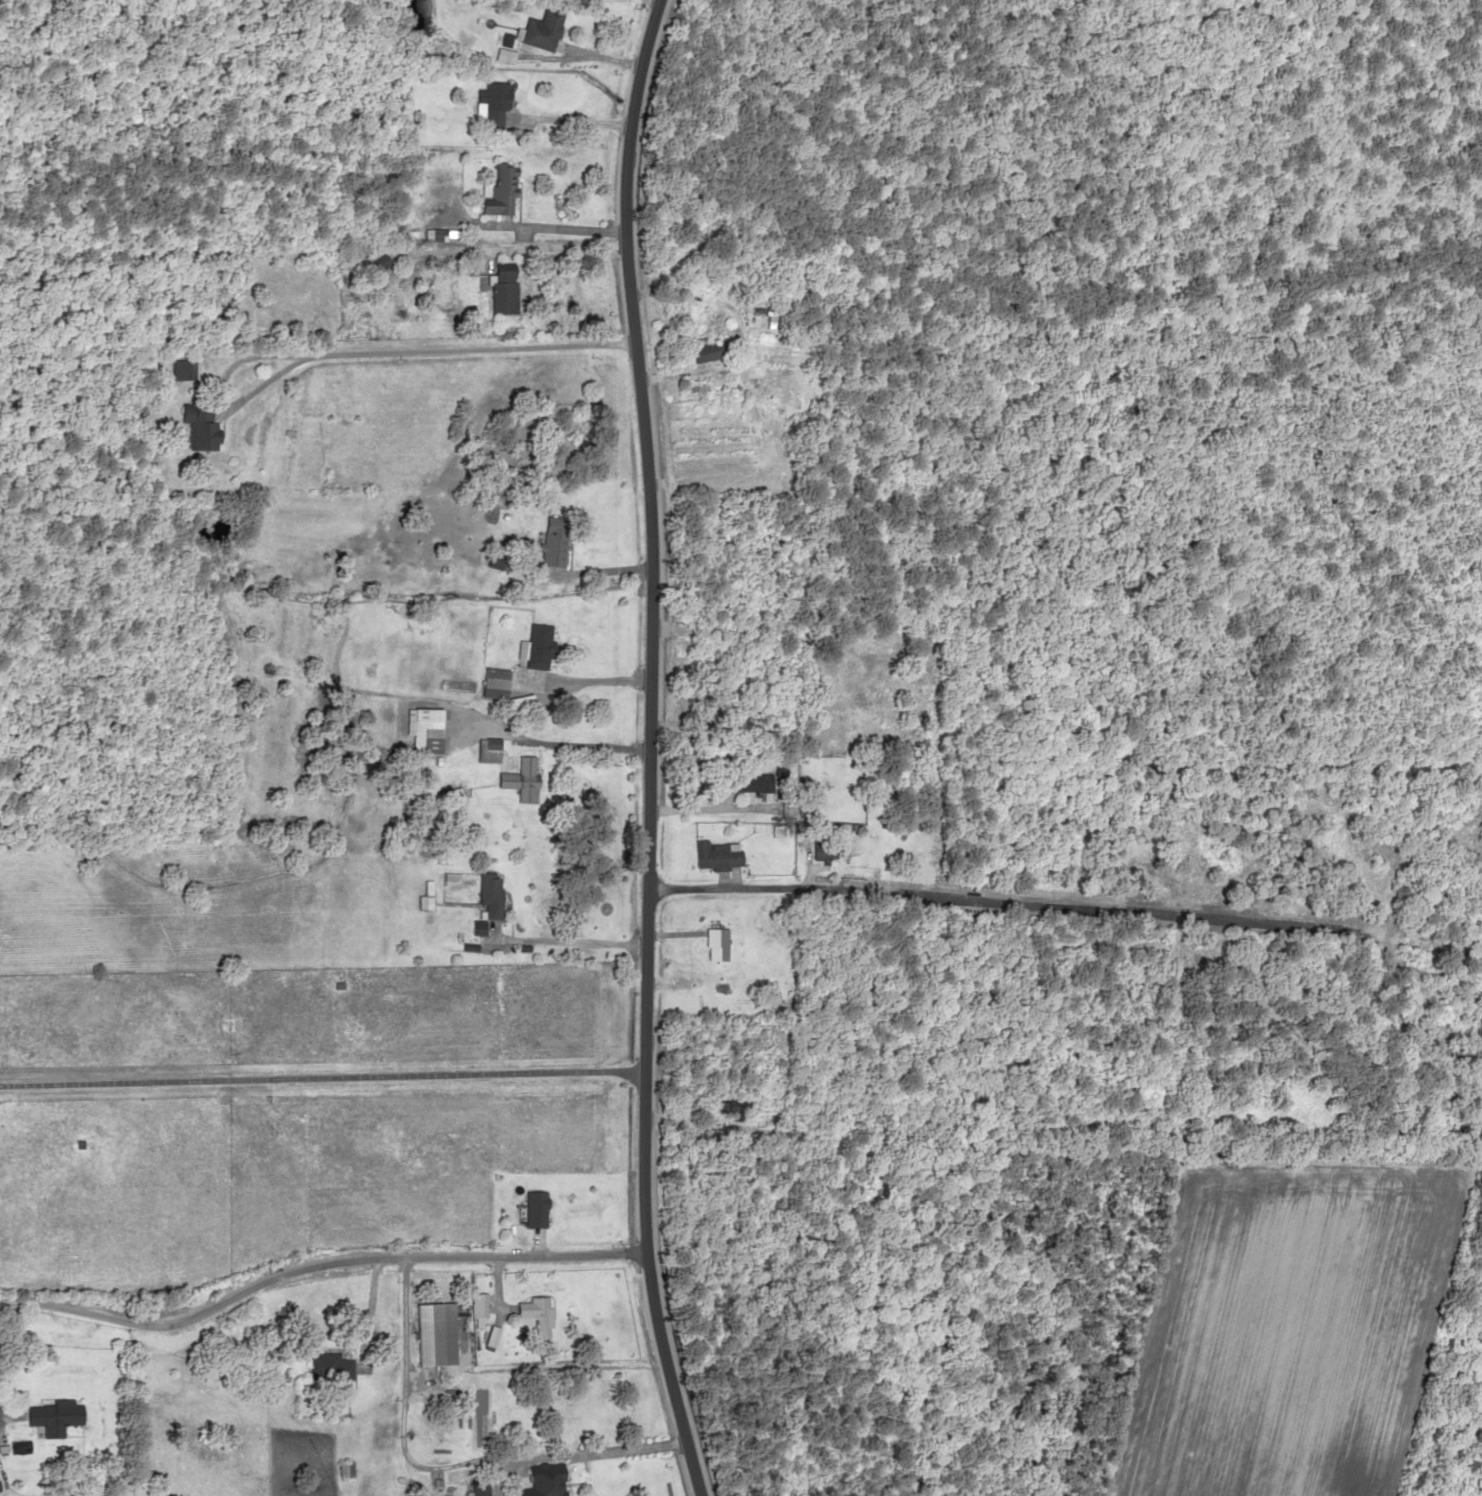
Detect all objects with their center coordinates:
building: (539, 28)
building: (488, 103)
building: (496, 191)
building: (439, 234)
building: (376, 263)
building: (502, 288)
building: (767, 315)
building: (708, 351)
building: (785, 357)
building: (183, 370)
building: (200, 427)
building: (553, 546)
building: (539, 646)
building: (495, 679)
building: (426, 731)
building: (489, 749)
road: (644, 750)
building: (781, 770)
building: (521, 779)
building: (752, 783)
building: (821, 850)
building: (714, 857)
road: (996, 894)
building: (489, 896)
building: (714, 945)
road: (337, 1058)
building: (730, 1108)
building: (758, 1133)
building: (533, 1209)
road: (309, 1258)
building: (477, 1308)
building: (534, 1315)
building: (432, 1333)
building: (330, 1372)
building: (55, 1416)
building: (345, 1469)
building: (543, 1480)
building: (479, 1487)

